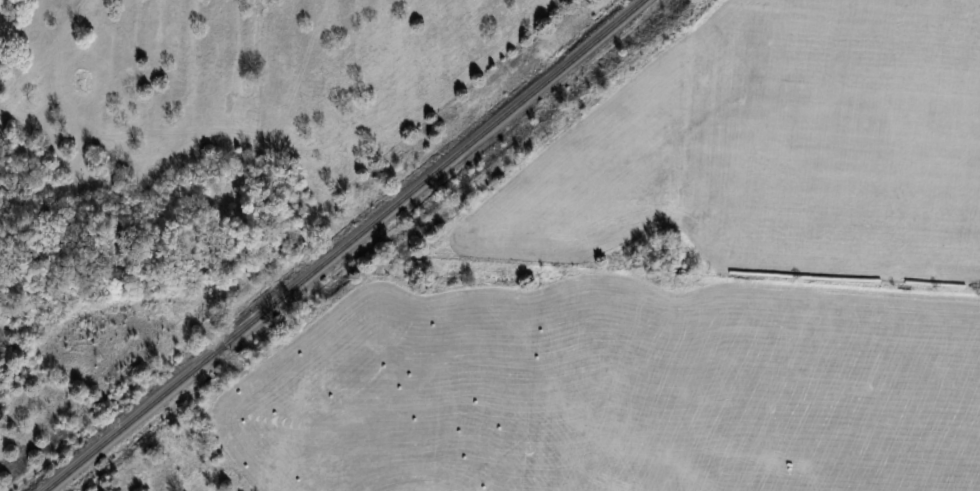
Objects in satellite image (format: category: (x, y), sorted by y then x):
railway: (343, 246)

